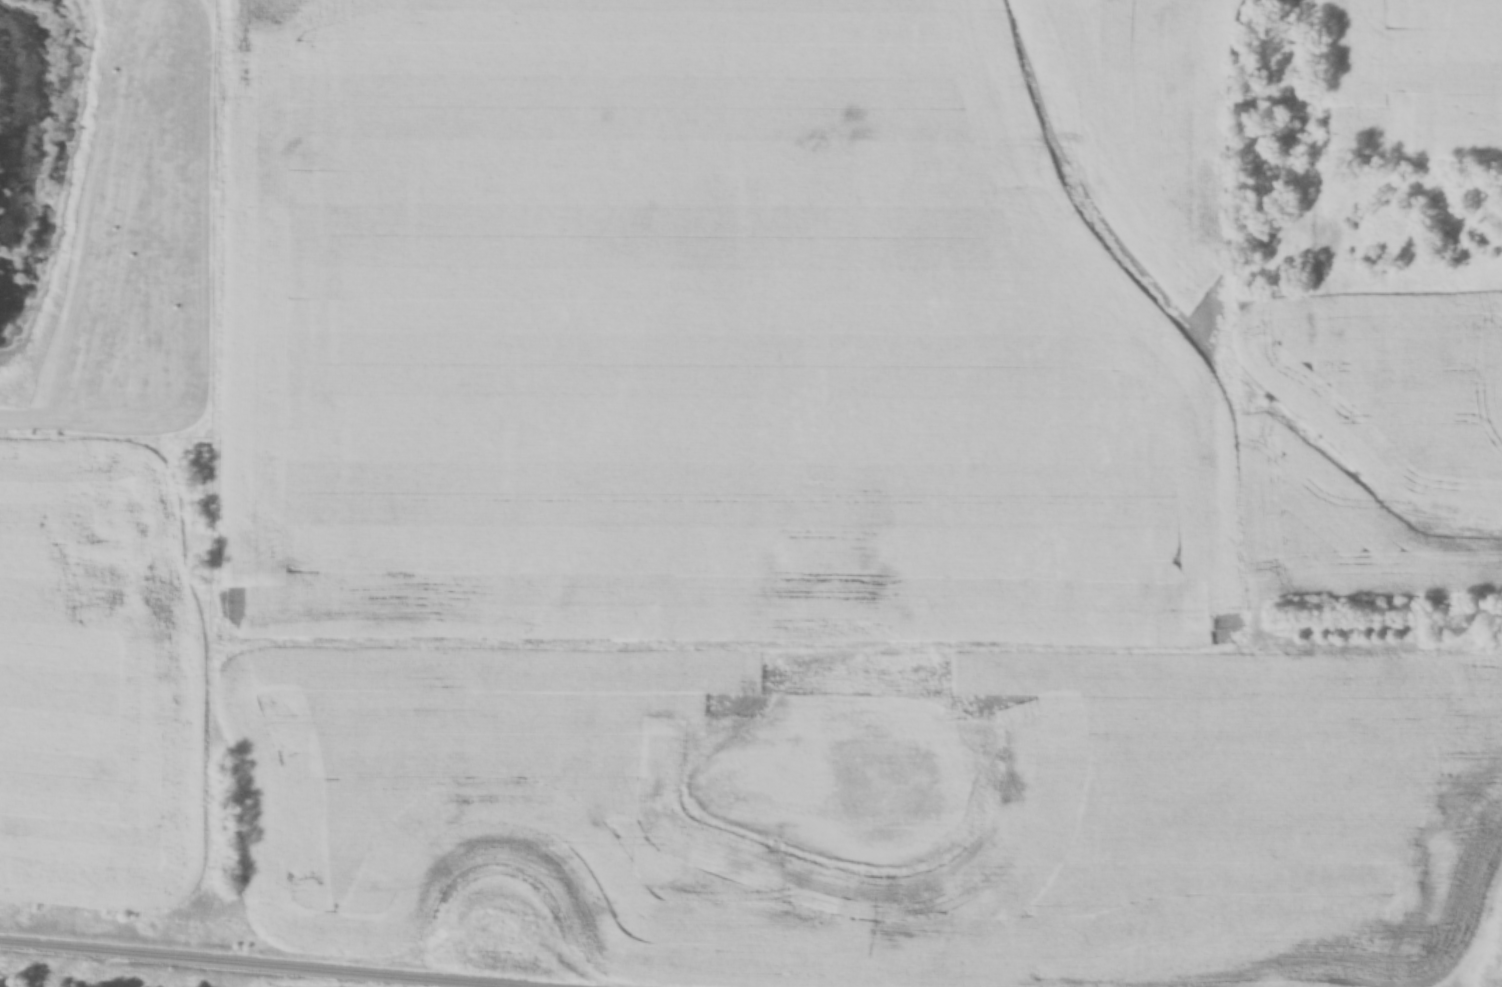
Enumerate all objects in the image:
railway: (254, 964)

